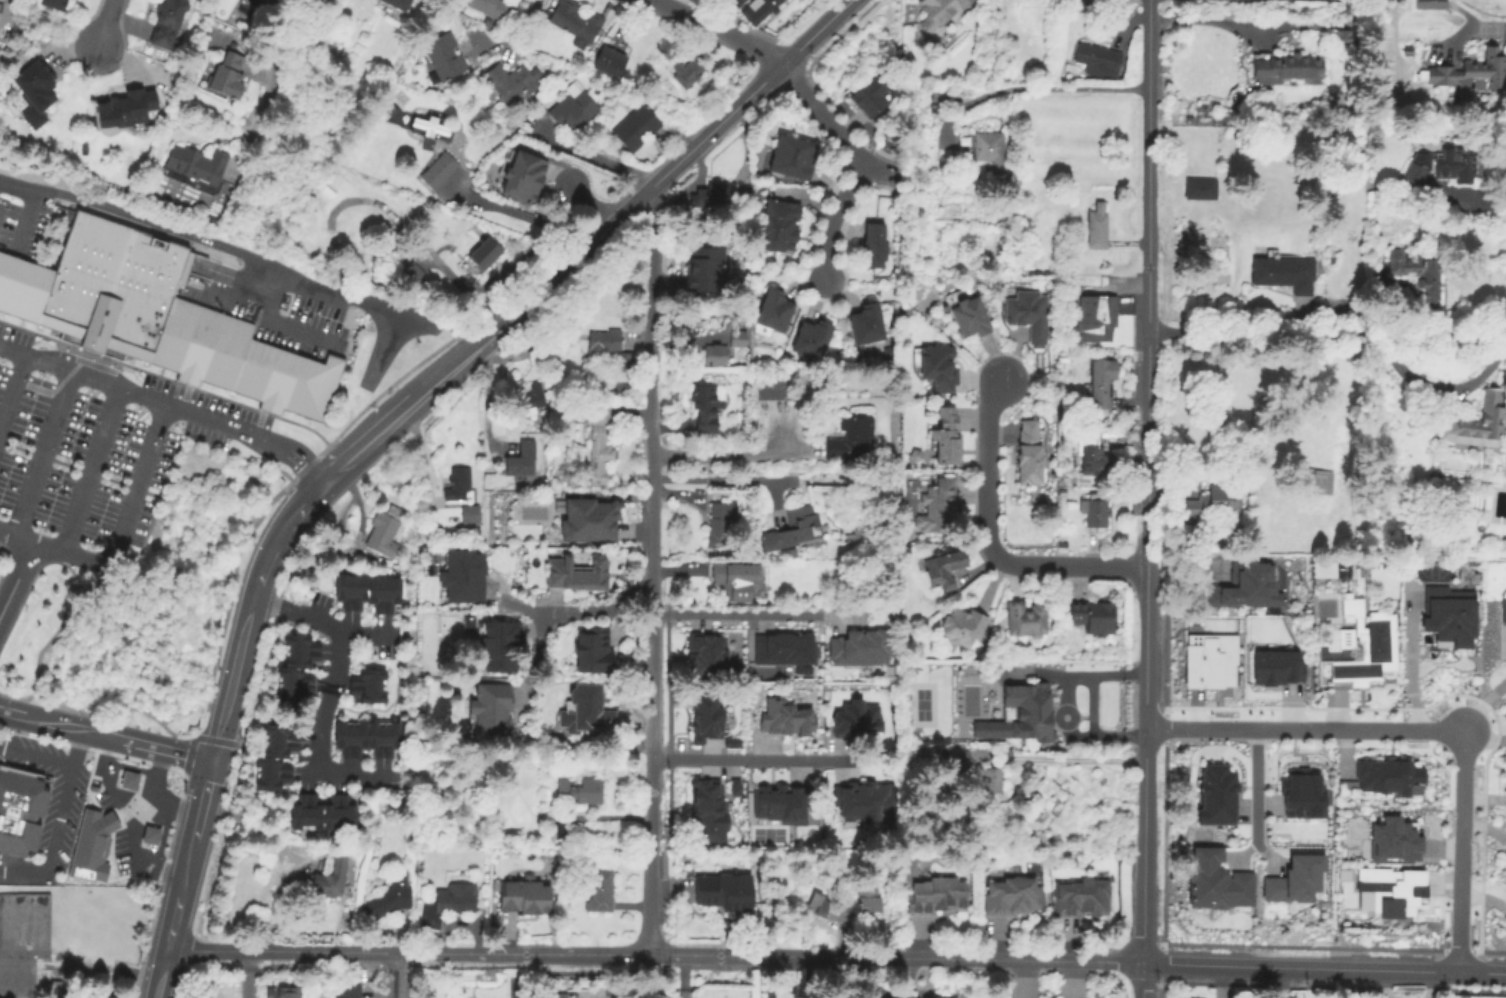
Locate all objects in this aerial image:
building: (53, 4)
building: (398, 4)
building: (1430, 4)
building: (1, 7)
building: (490, 7)
building: (759, 10)
building: (941, 10)
road: (1204, 18)
building: (575, 20)
building: (168, 22)
road: (107, 23)
road: (1481, 26)
road: (716, 29)
road: (515, 37)
building: (1343, 37)
road: (506, 54)
building: (445, 57)
building: (1099, 60)
building: (610, 62)
building: (1289, 66)
building: (1063, 70)
road: (278, 71)
building: (1472, 72)
building: (687, 73)
building: (228, 76)
building: (511, 84)
road: (1043, 87)
building: (37, 93)
building: (872, 98)
building: (574, 109)
building: (128, 110)
road: (823, 116)
building: (431, 127)
building: (635, 127)
building: (983, 145)
road: (589, 154)
building: (795, 157)
building: (197, 164)
building: (1457, 165)
road: (670, 167)
building: (439, 170)
road: (886, 170)
building: (1414, 174)
building: (524, 177)
building: (1200, 189)
building: (716, 193)
road: (1482, 198)
road: (522, 217)
road: (835, 217)
building: (781, 226)
building: (1097, 227)
building: (876, 246)
road: (219, 248)
building: (485, 253)
building: (4, 269)
building: (707, 271)
building: (1284, 271)
building: (1418, 271)
building: (411, 273)
road: (1146, 276)
building: (10, 285)
building: (113, 289)
building: (23, 291)
building: (39, 296)
building: (776, 311)
building: (1028, 315)
building: (970, 317)
building: (1098, 320)
building: (869, 325)
building: (174, 336)
road: (1326, 336)
building: (735, 338)
building: (813, 340)
building: (604, 342)
building: (197, 347)
road: (385, 347)
building: (225, 354)
building: (716, 354)
building: (627, 362)
road: (653, 366)
road: (452, 367)
building: (939, 368)
building: (249, 370)
road: (83, 376)
building: (274, 382)
building: (1102, 382)
building: (621, 386)
building: (776, 387)
building: (302, 389)
building: (324, 390)
road: (13, 394)
building: (532, 398)
building: (706, 408)
road: (210, 419)
building: (1477, 423)
building: (596, 432)
building: (947, 436)
parking lot: (94, 439)
road: (367, 439)
building: (852, 440)
road: (291, 452)
road: (44, 453)
building: (1091, 453)
building: (1033, 456)
road: (720, 457)
building: (521, 459)
road: (171, 467)
road: (89, 468)
road: (722, 478)
building: (1317, 481)
building: (463, 497)
building: (1212, 502)
building: (938, 507)
building: (1094, 510)
road: (297, 512)
building: (590, 522)
building: (722, 525)
building: (794, 530)
building: (385, 531)
road: (119, 535)
road: (992, 538)
road: (267, 551)
building: (787, 554)
road: (1145, 561)
road: (55, 563)
building: (943, 568)
road: (16, 572)
building: (577, 575)
road: (255, 577)
building: (462, 578)
building: (736, 581)
building: (1244, 586)
building: (368, 587)
building: (1503, 610)
road: (594, 613)
road: (750, 614)
road: (1144, 615)
building: (1446, 615)
building: (1095, 617)
building: (1026, 619)
road: (321, 621)
building: (466, 624)
building: (966, 631)
building: (1365, 643)
building: (497, 647)
building: (859, 647)
building: (783, 649)
building: (593, 651)
building: (705, 655)
road: (39, 656)
building: (1210, 658)
road: (1410, 665)
building: (1275, 666)
building: (298, 667)
building: (4, 669)
road: (1072, 676)
road: (229, 677)
building: (368, 685)
park: (921, 704)
road: (1482, 706)
building: (491, 711)
building: (586, 712)
building: (1032, 713)
building: (705, 714)
building: (782, 717)
road: (41, 719)
building: (856, 719)
road: (1092, 729)
road: (1422, 731)
road: (94, 732)
road: (324, 734)
building: (368, 739)
building: (730, 741)
road: (1487, 746)
road: (77, 747)
road: (158, 747)
road: (652, 748)
road: (104, 749)
building: (928, 753)
road: (36, 757)
building: (276, 757)
road: (1064, 758)
traffic signals: (211, 759)
road: (751, 761)
road: (157, 764)
building: (1386, 776)
building: (990, 779)
building: (129, 781)
building: (733, 786)
road: (151, 787)
building: (580, 792)
building: (1299, 793)
building: (1214, 794)
road: (201, 799)
road: (1257, 799)
building: (860, 800)
building: (779, 802)
building: (704, 809)
building: (19, 810)
road: (1140, 811)
building: (323, 812)
building: (563, 831)
road: (127, 833)
building: (151, 835)
building: (1393, 839)
road: (54, 841)
building: (104, 841)
road: (1247, 853)
road: (182, 872)
building: (1292, 878)
building: (331, 879)
building: (1214, 882)
building: (1390, 888)
building: (601, 891)
building: (868, 896)
building: (728, 897)
building: (389, 898)
building: (520, 898)
building: (939, 902)
building: (1015, 902)
building: (1083, 903)
building: (818, 904)
building: (446, 905)
road: (169, 926)
building: (25, 947)
road: (652, 953)
road: (1322, 968)
road: (159, 972)
road: (393, 975)
road: (682, 976)
road: (1138, 979)
building: (348, 992)
building: (284, 994)
building: (553, 995)
building: (931, 996)

